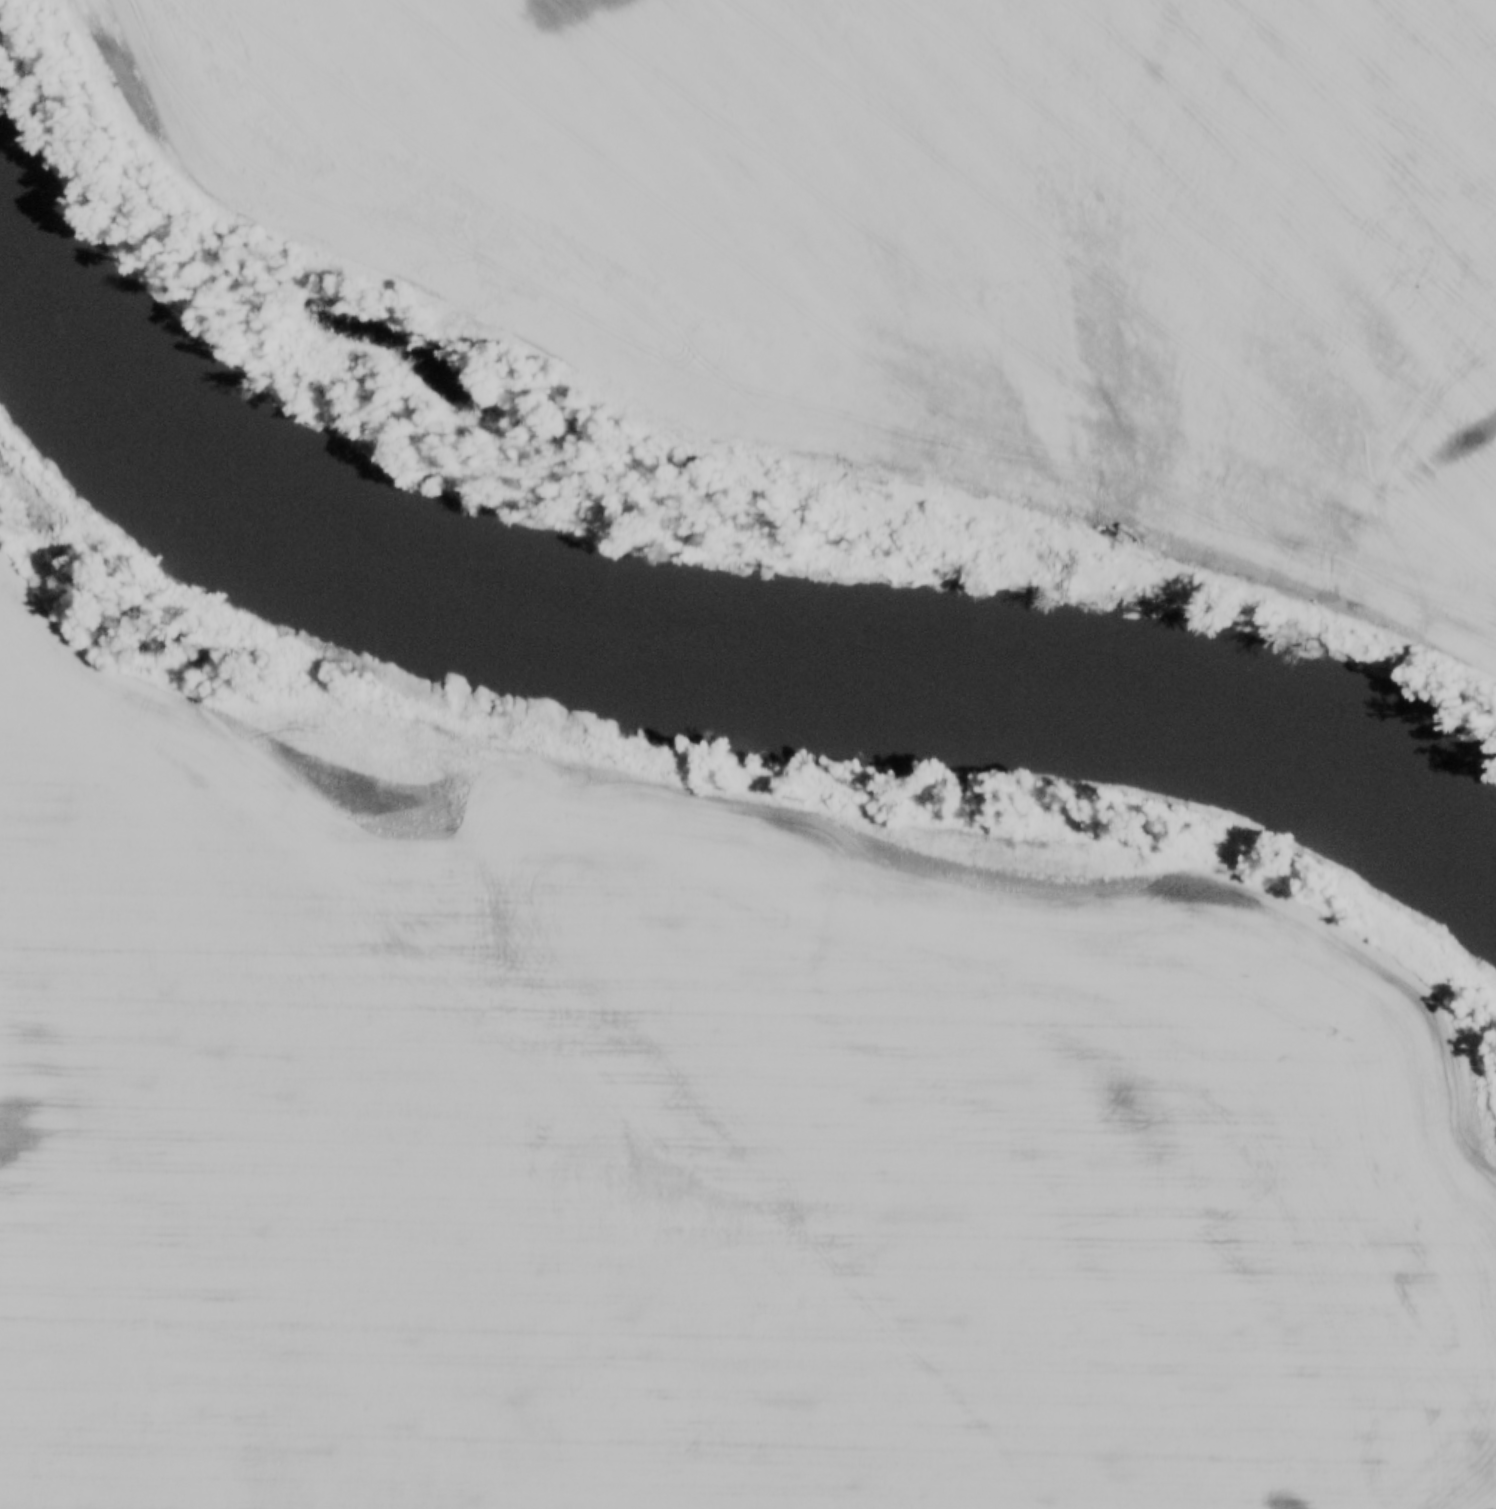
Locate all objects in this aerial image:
road: (60, 628)
river: (703, 655)

